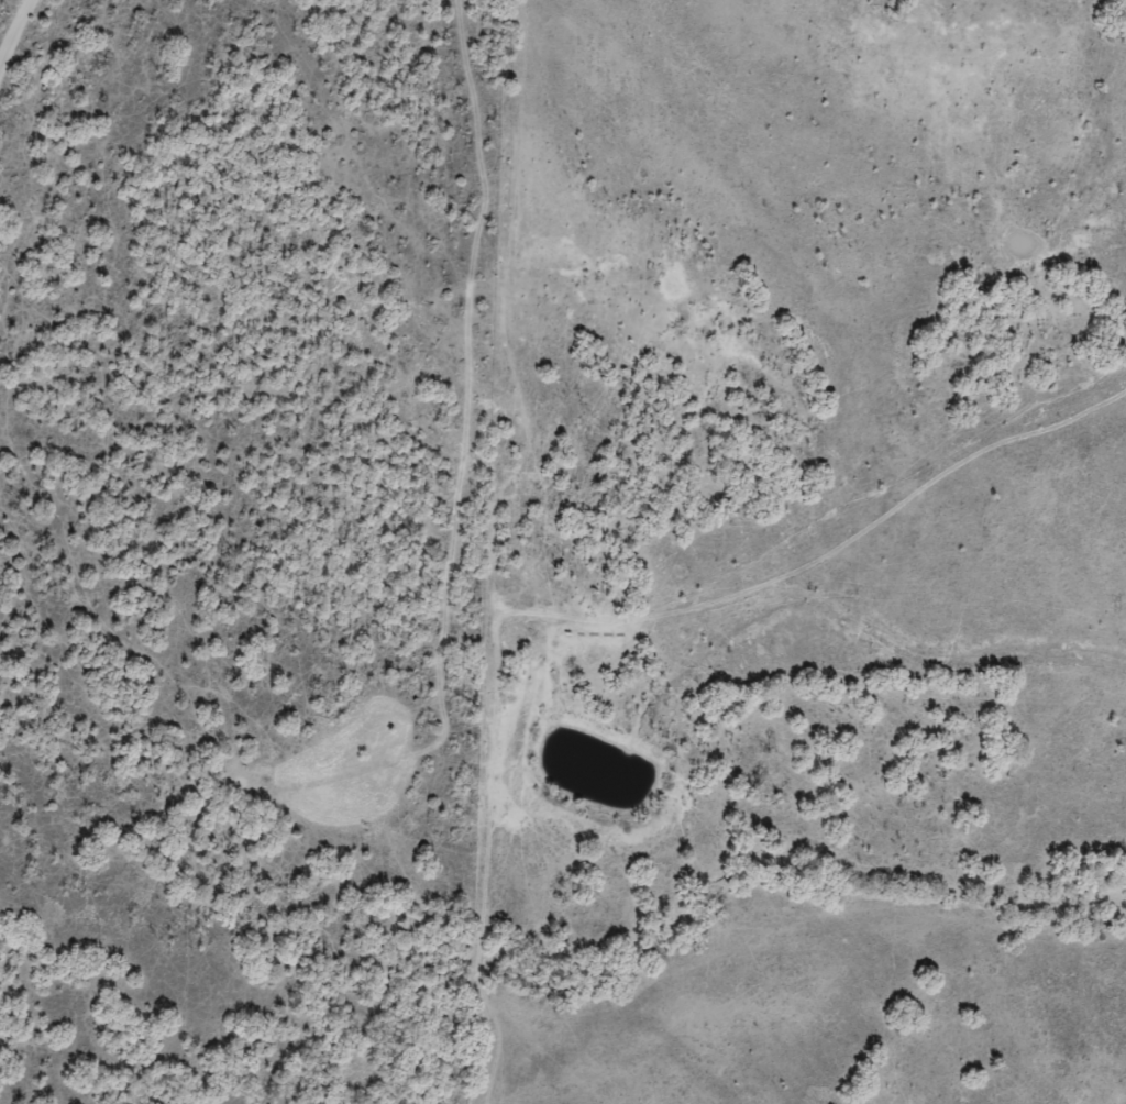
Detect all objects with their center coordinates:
road: (18, 8)

